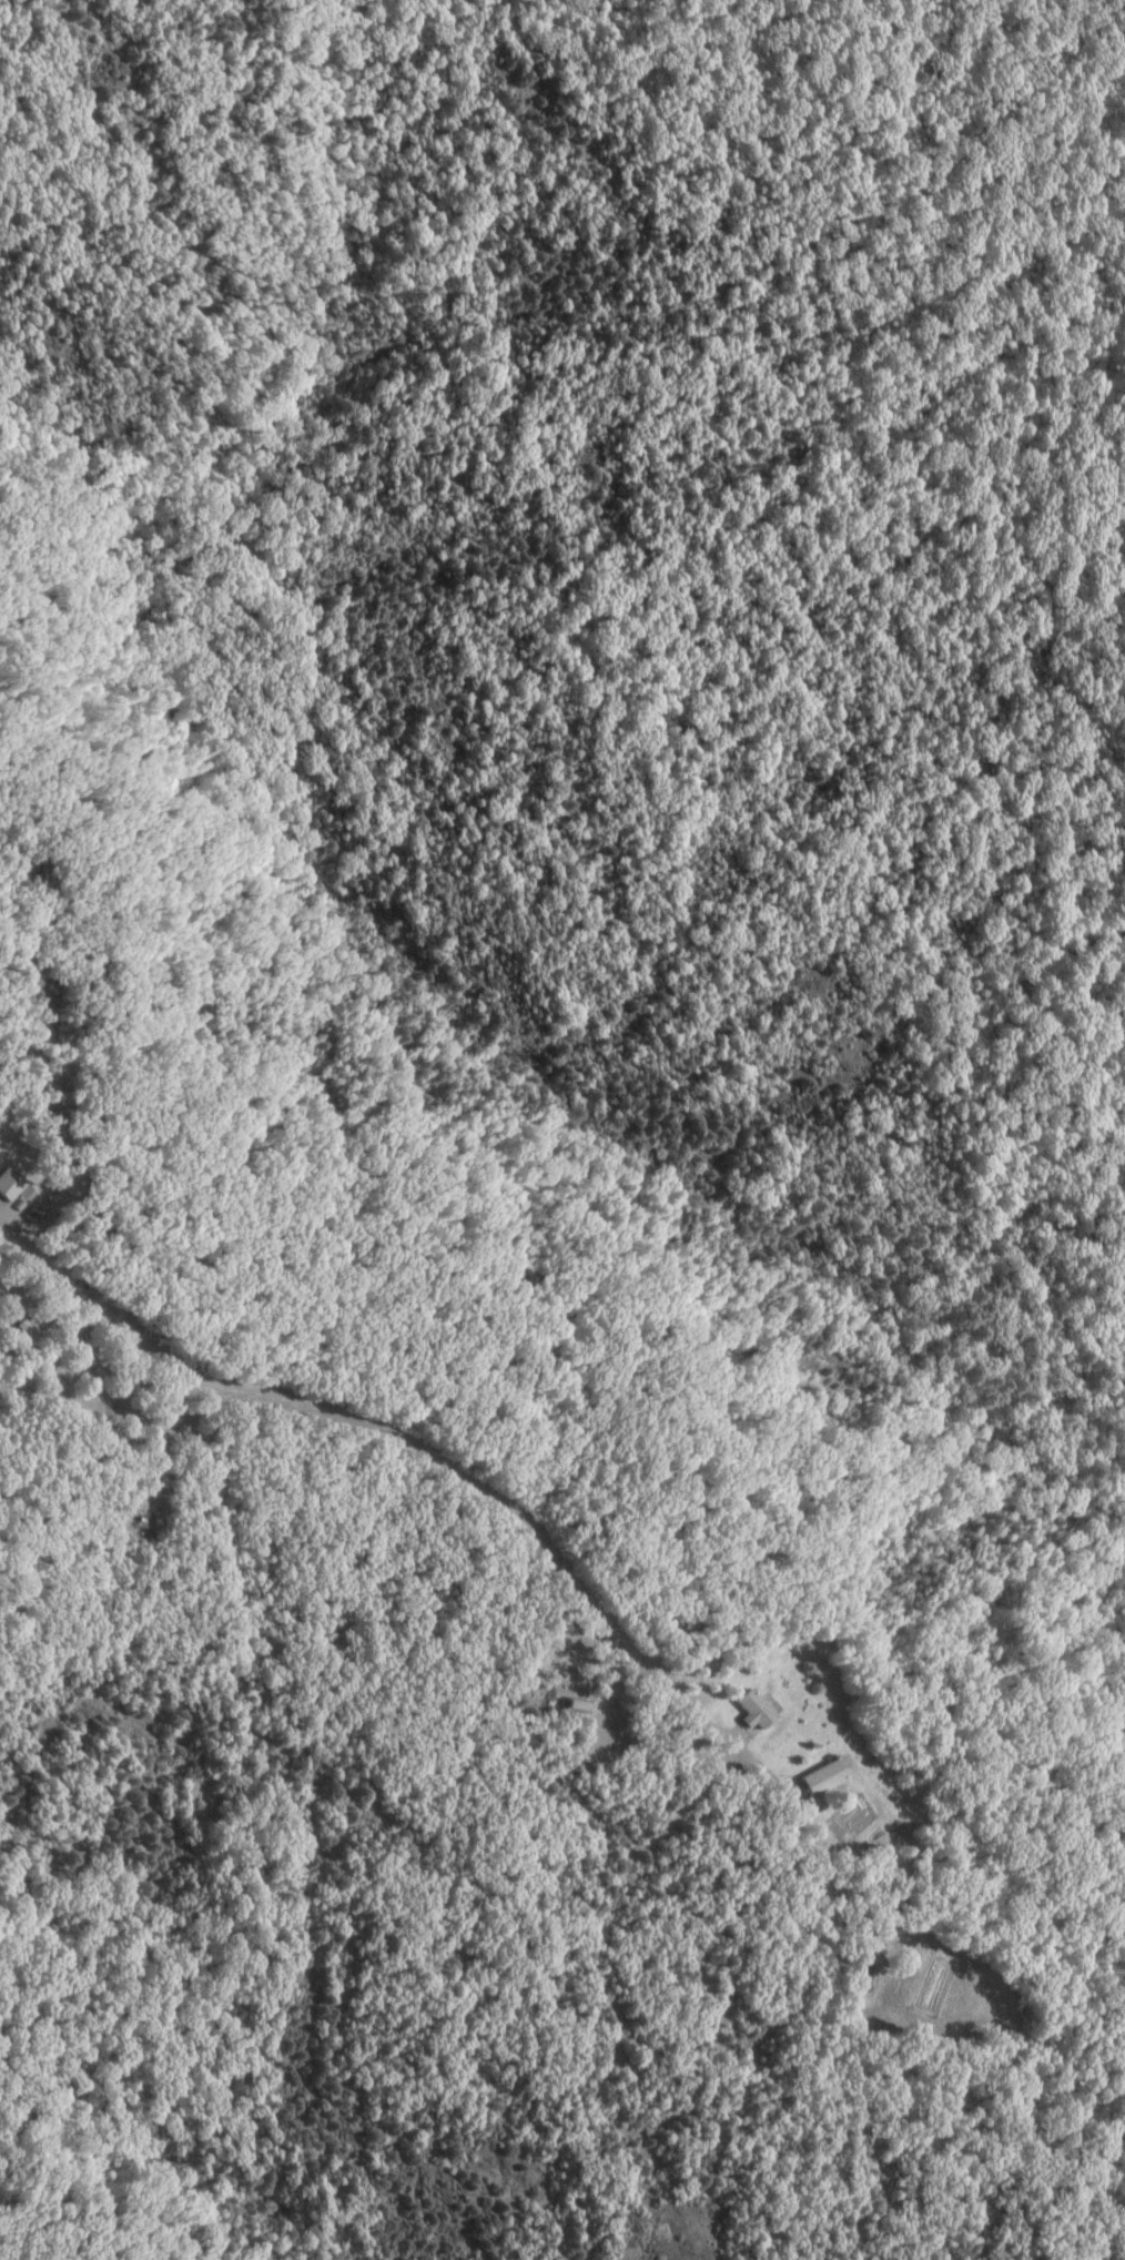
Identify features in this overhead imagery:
building: (577, 1707)
building: (752, 1710)
building: (820, 1780)

